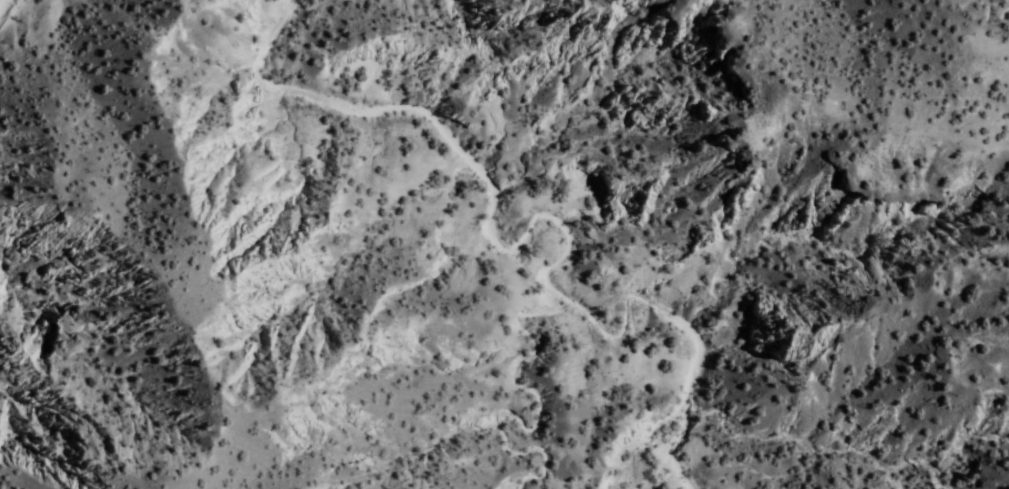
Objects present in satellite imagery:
road: (6, 8)

